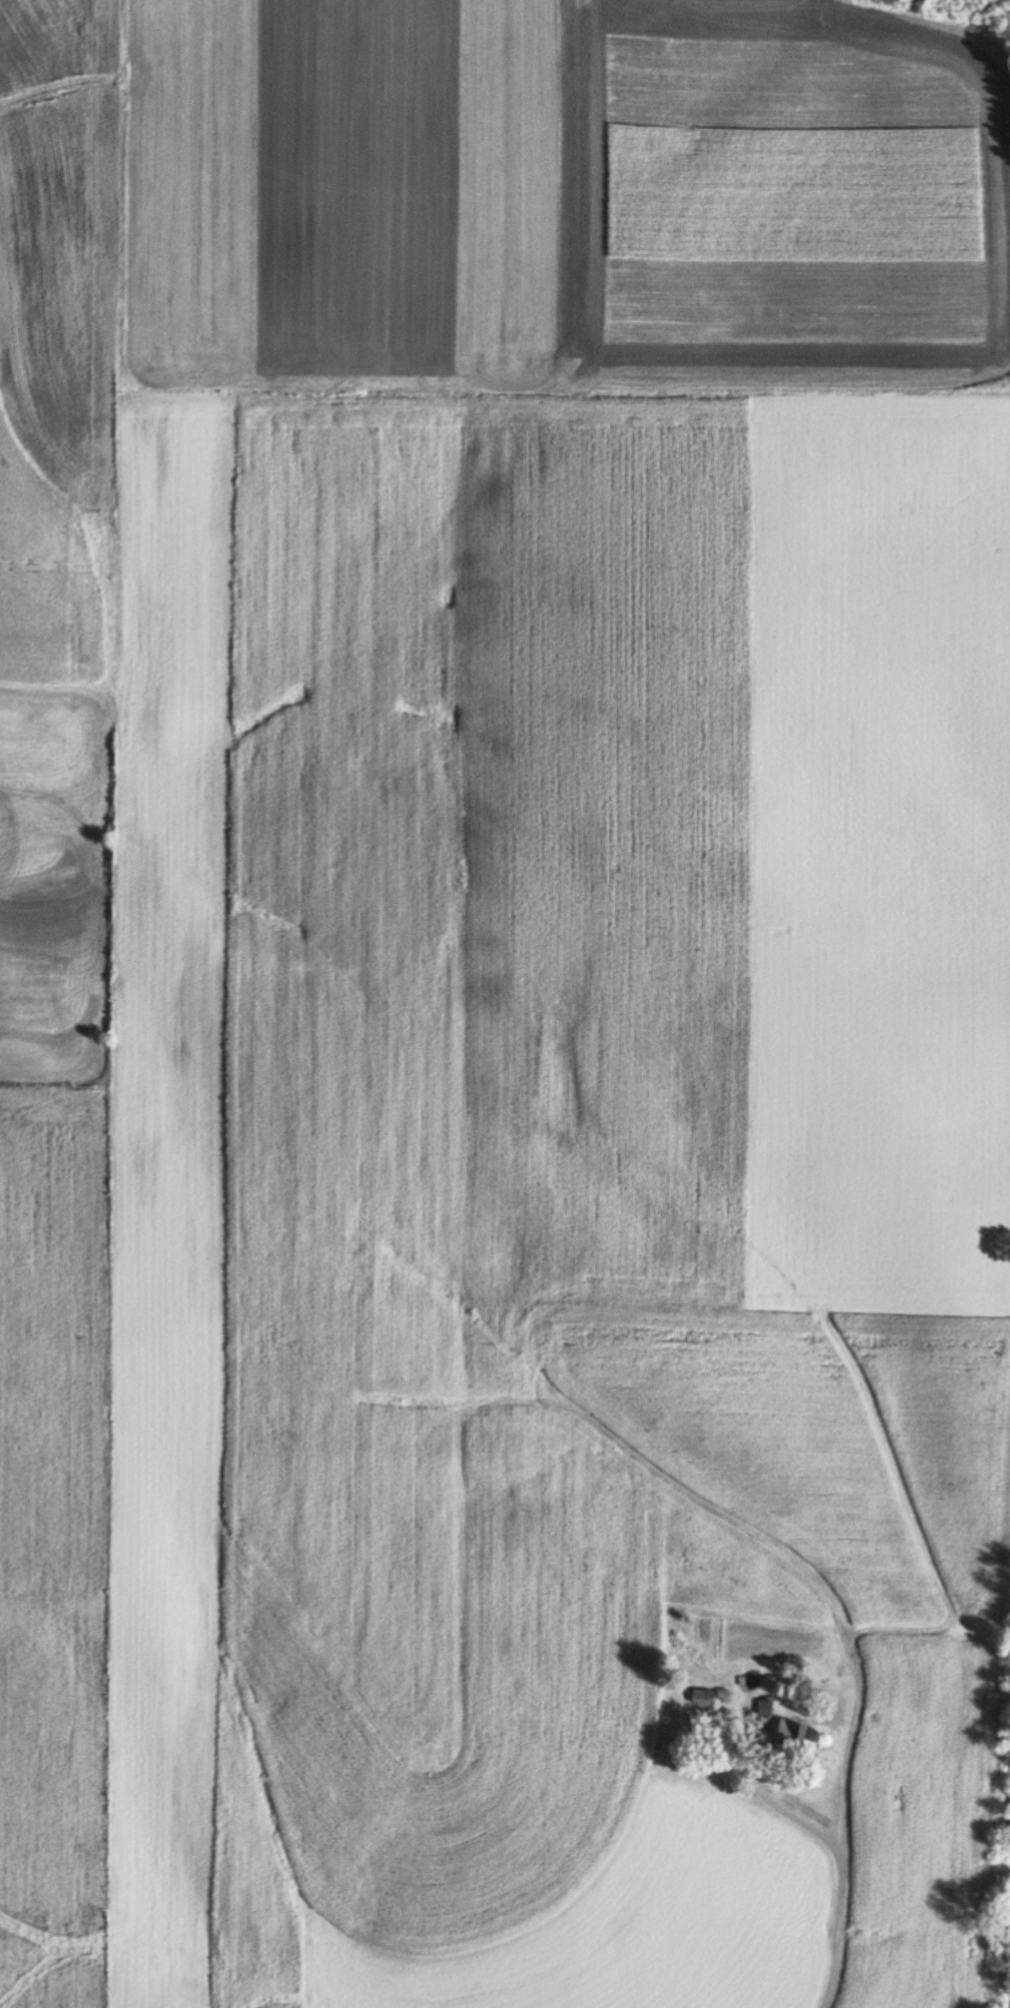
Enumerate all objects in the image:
road: (828, 1852)

